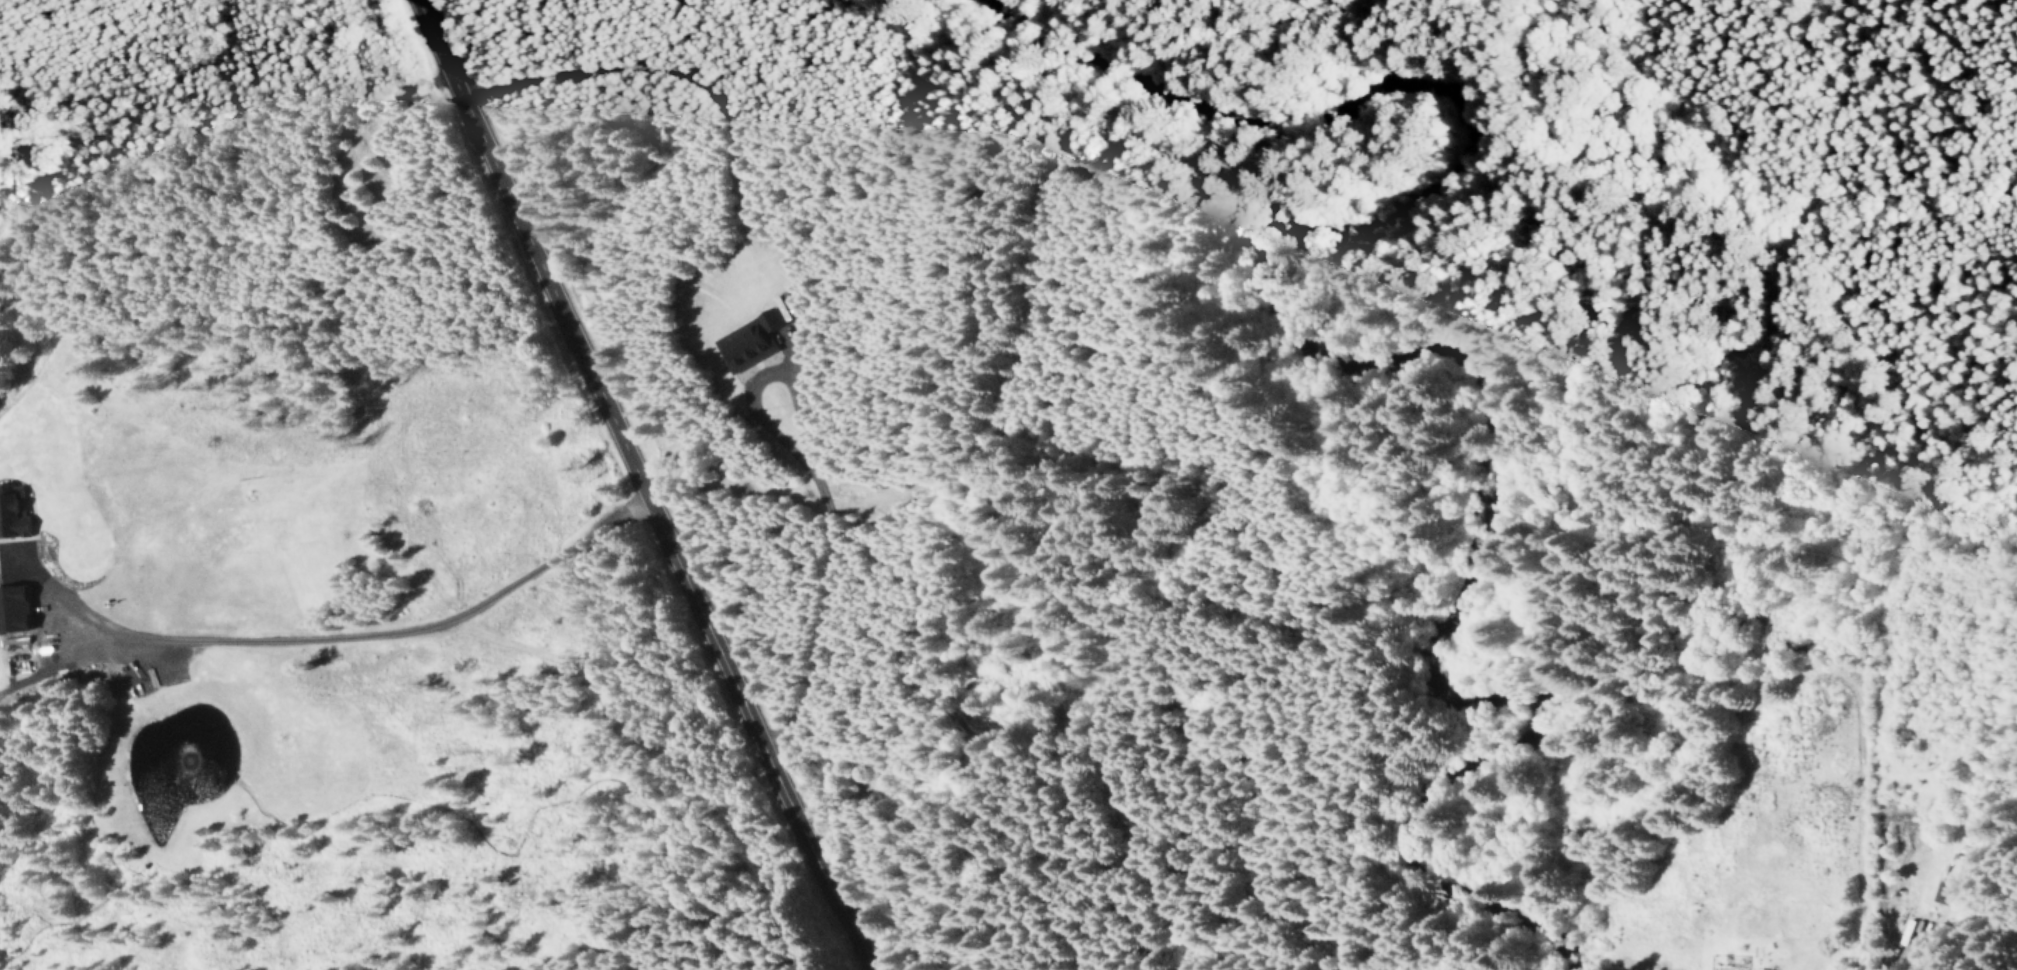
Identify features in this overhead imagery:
road: (779, 360)
river: (1369, 364)
road: (647, 480)
building: (14, 511)
building: (17, 608)
road: (349, 639)
road: (983, 679)
building: (1950, 884)
road: (1936, 910)
building: (1909, 928)

